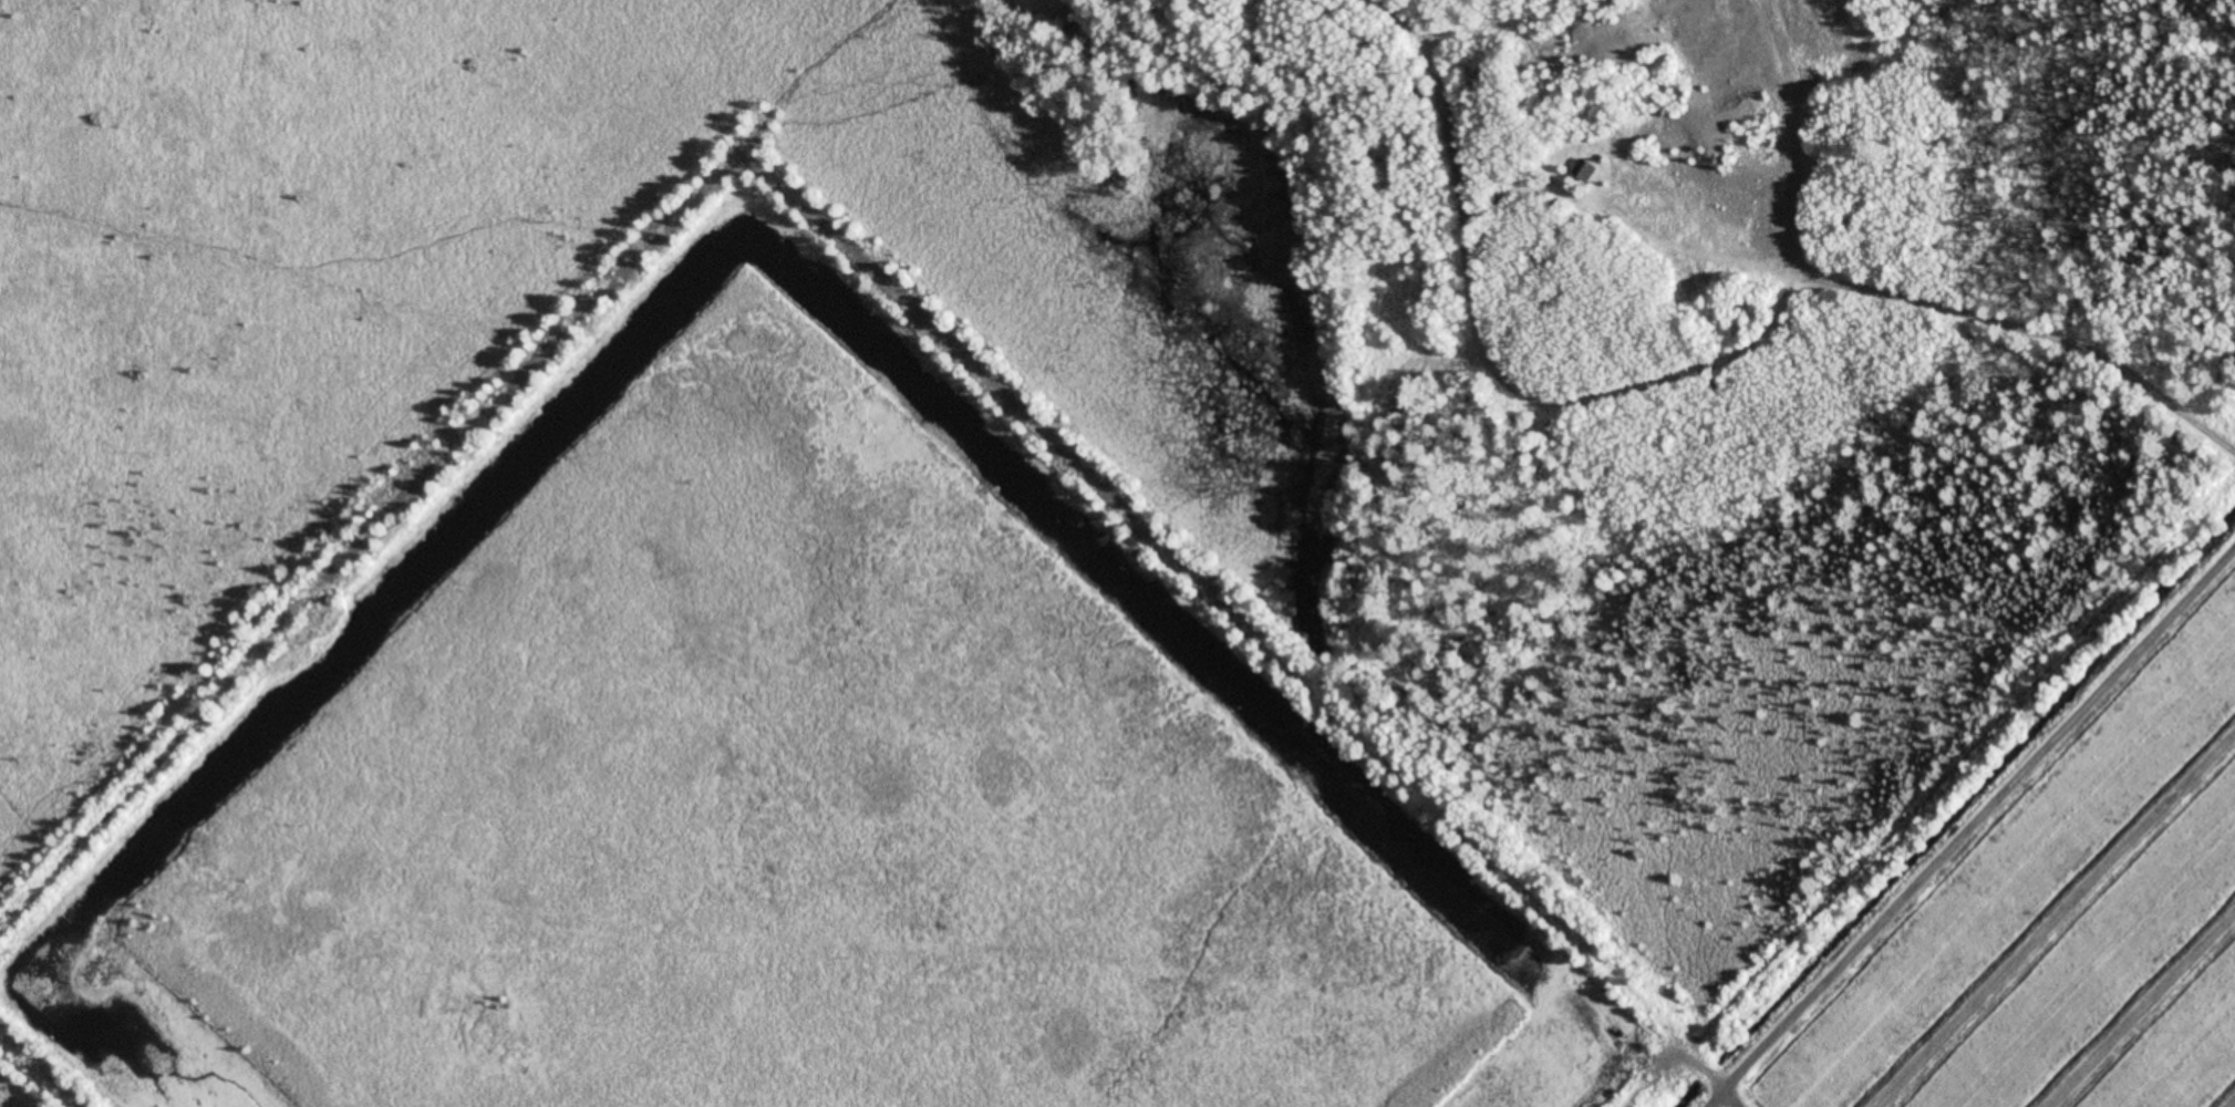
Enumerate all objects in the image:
building: (1580, 173)
crop: (2041, 904)

